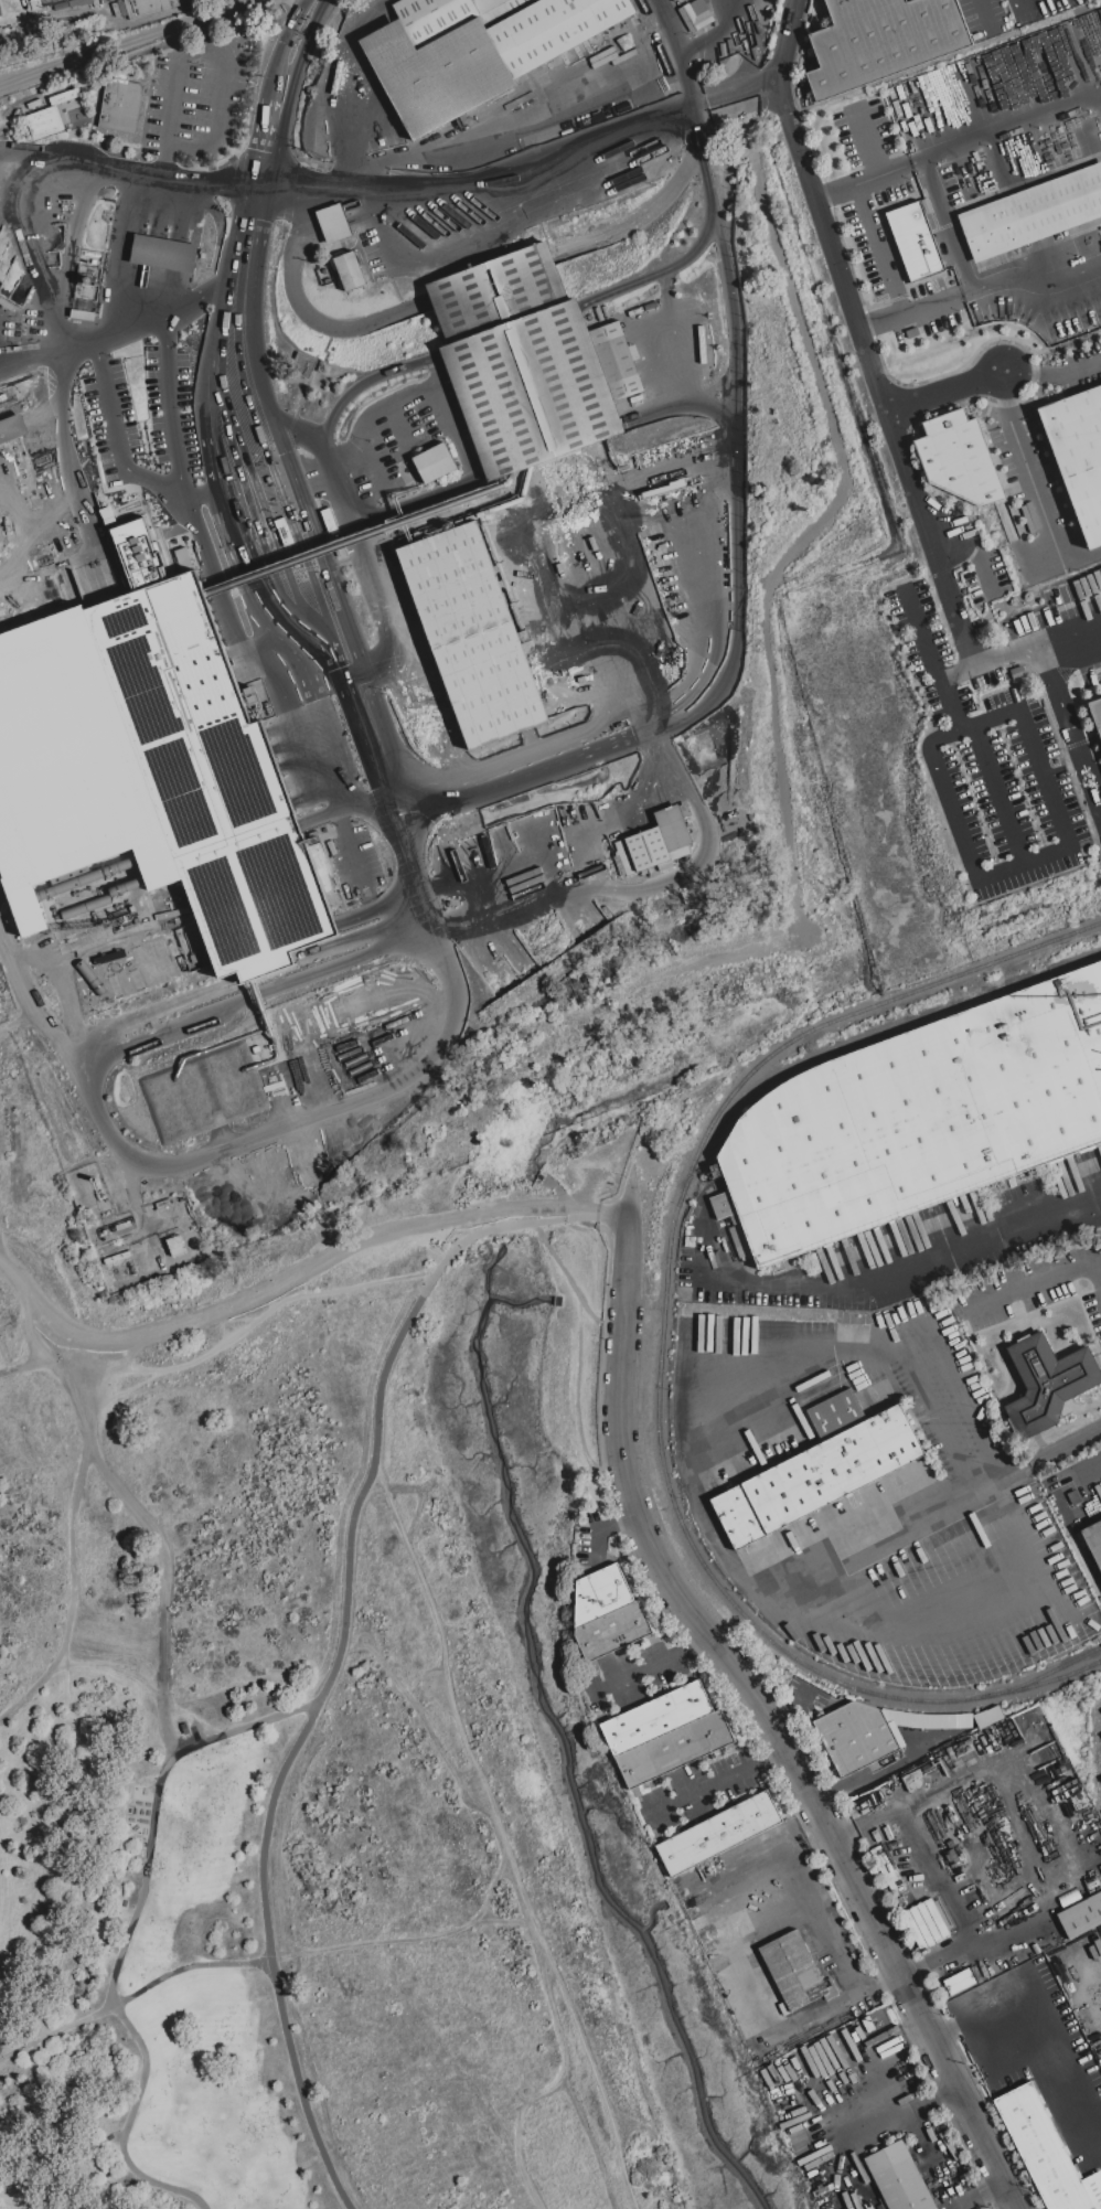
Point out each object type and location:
building: (488, 6)
building: (149, 7)
road: (738, 12)
road: (983, 13)
building: (695, 14)
building: (435, 18)
building: (883, 40)
road: (730, 43)
road: (128, 45)
road: (676, 52)
building: (479, 56)
road: (341, 85)
building: (121, 104)
building: (51, 116)
road: (517, 125)
road: (1006, 127)
road: (79, 168)
road: (862, 181)
road: (316, 191)
building: (1034, 214)
road: (17, 221)
building: (336, 222)
road: (948, 224)
building: (915, 241)
road: (877, 249)
building: (163, 255)
road: (122, 256)
building: (350, 270)
road: (659, 271)
road: (238, 279)
road: (1031, 280)
road: (302, 310)
road: (909, 311)
road: (162, 314)
road: (7, 355)
building: (531, 362)
road: (1054, 372)
road: (943, 389)
road: (106, 397)
road: (881, 403)
road: (437, 404)
road: (170, 408)
building: (12, 428)
building: (1079, 453)
building: (959, 458)
building: (435, 462)
road: (1027, 470)
road: (62, 478)
road: (220, 502)
road: (974, 549)
road: (1081, 559)
road: (738, 578)
building: (473, 633)
road: (1068, 633)
road: (1024, 649)
road: (995, 660)
road: (282, 672)
building: (1095, 714)
road: (1068, 727)
road: (998, 793)
building: (674, 831)
road: (1060, 849)
road: (567, 851)
building: (644, 852)
building: (468, 860)
road: (353, 862)
building: (258, 898)
road: (30, 1004)
road: (4, 1039)
road: (97, 1065)
building: (919, 1118)
road: (1001, 1236)
building: (177, 1246)
road: (9, 1268)
road: (1036, 1278)
road: (772, 1284)
road: (255, 1294)
road: (38, 1312)
railway: (662, 1347)
building: (1048, 1383)
road: (940, 1427)
road: (1052, 1452)
building: (820, 1468)
road: (1091, 1475)
building: (1075, 1497)
road: (701, 1513)
road: (78, 1538)
building: (1093, 1540)
road: (872, 1544)
road: (165, 1562)
building: (607, 1613)
road: (339, 1636)
road: (658, 1665)
railway: (1054, 1671)
road: (124, 1672)
building: (656, 1718)
road: (770, 1726)
building: (183, 1727)
building: (856, 1736)
building: (674, 1749)
road: (718, 1786)
road: (1051, 1807)
building: (719, 1833)
road: (1017, 1833)
road: (503, 1838)
road: (973, 1855)
road: (487, 1860)
road: (934, 1874)
building: (1069, 1898)
building: (1081, 1915)
building: (926, 1924)
road: (124, 1927)
road: (742, 1968)
building: (795, 1973)
building: (960, 1982)
road: (135, 1991)
road: (1043, 2011)
road: (913, 2111)
building: (1046, 2153)
building: (899, 2178)
road: (993, 2187)
road: (969, 2201)

